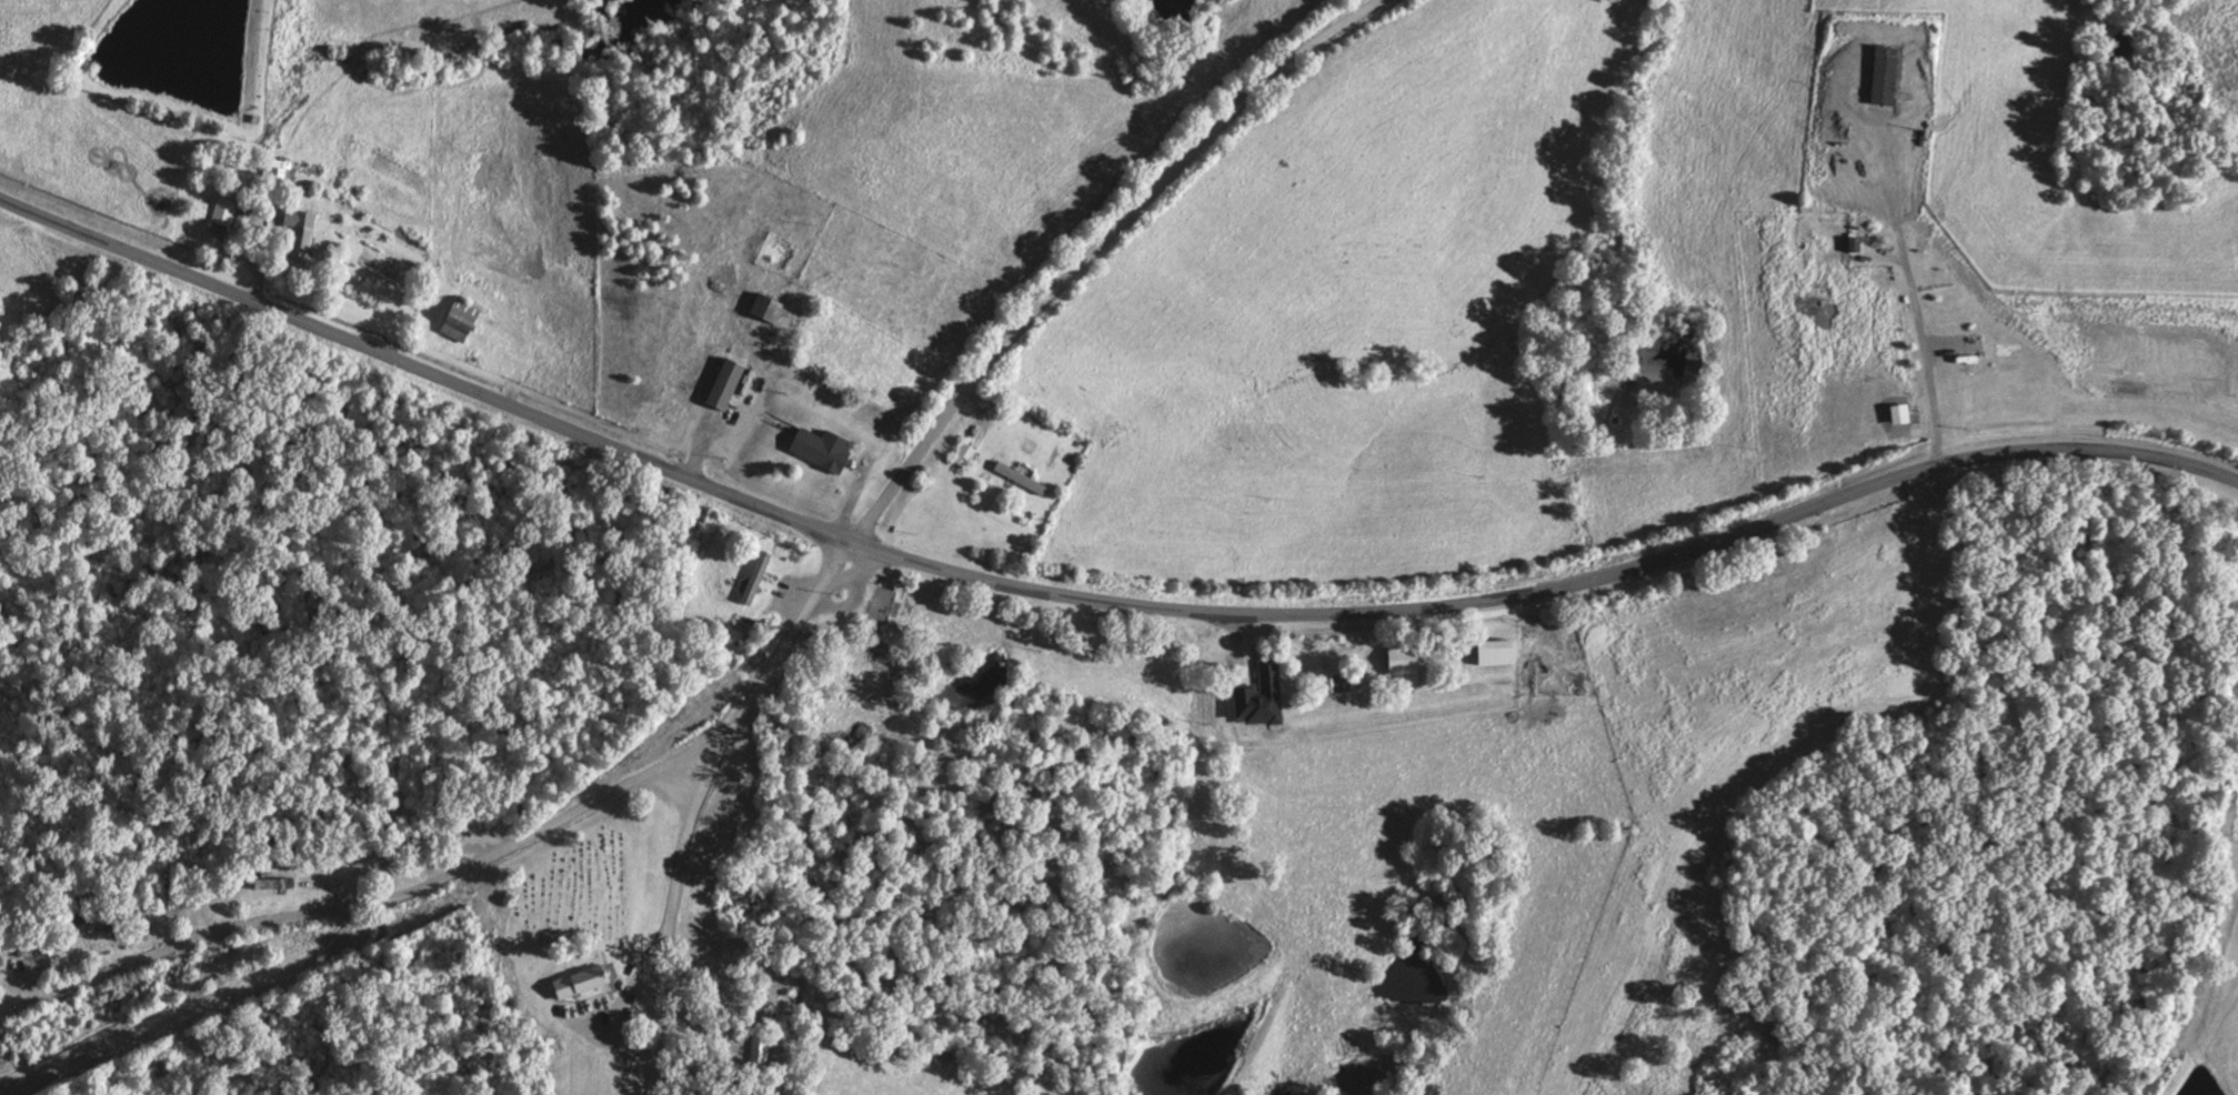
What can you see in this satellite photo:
building: (224, 211)
building: (301, 231)
road: (1096, 250)
building: (766, 307)
building: (726, 382)
building: (819, 446)
building: (963, 454)
building: (756, 576)
road: (1095, 604)
building: (1499, 651)
building: (1405, 663)
building: (1271, 684)
road: (692, 795)
building: (274, 883)
road: (357, 907)
building: (94, 923)
building: (1, 961)
building: (582, 981)
building: (756, 1049)

